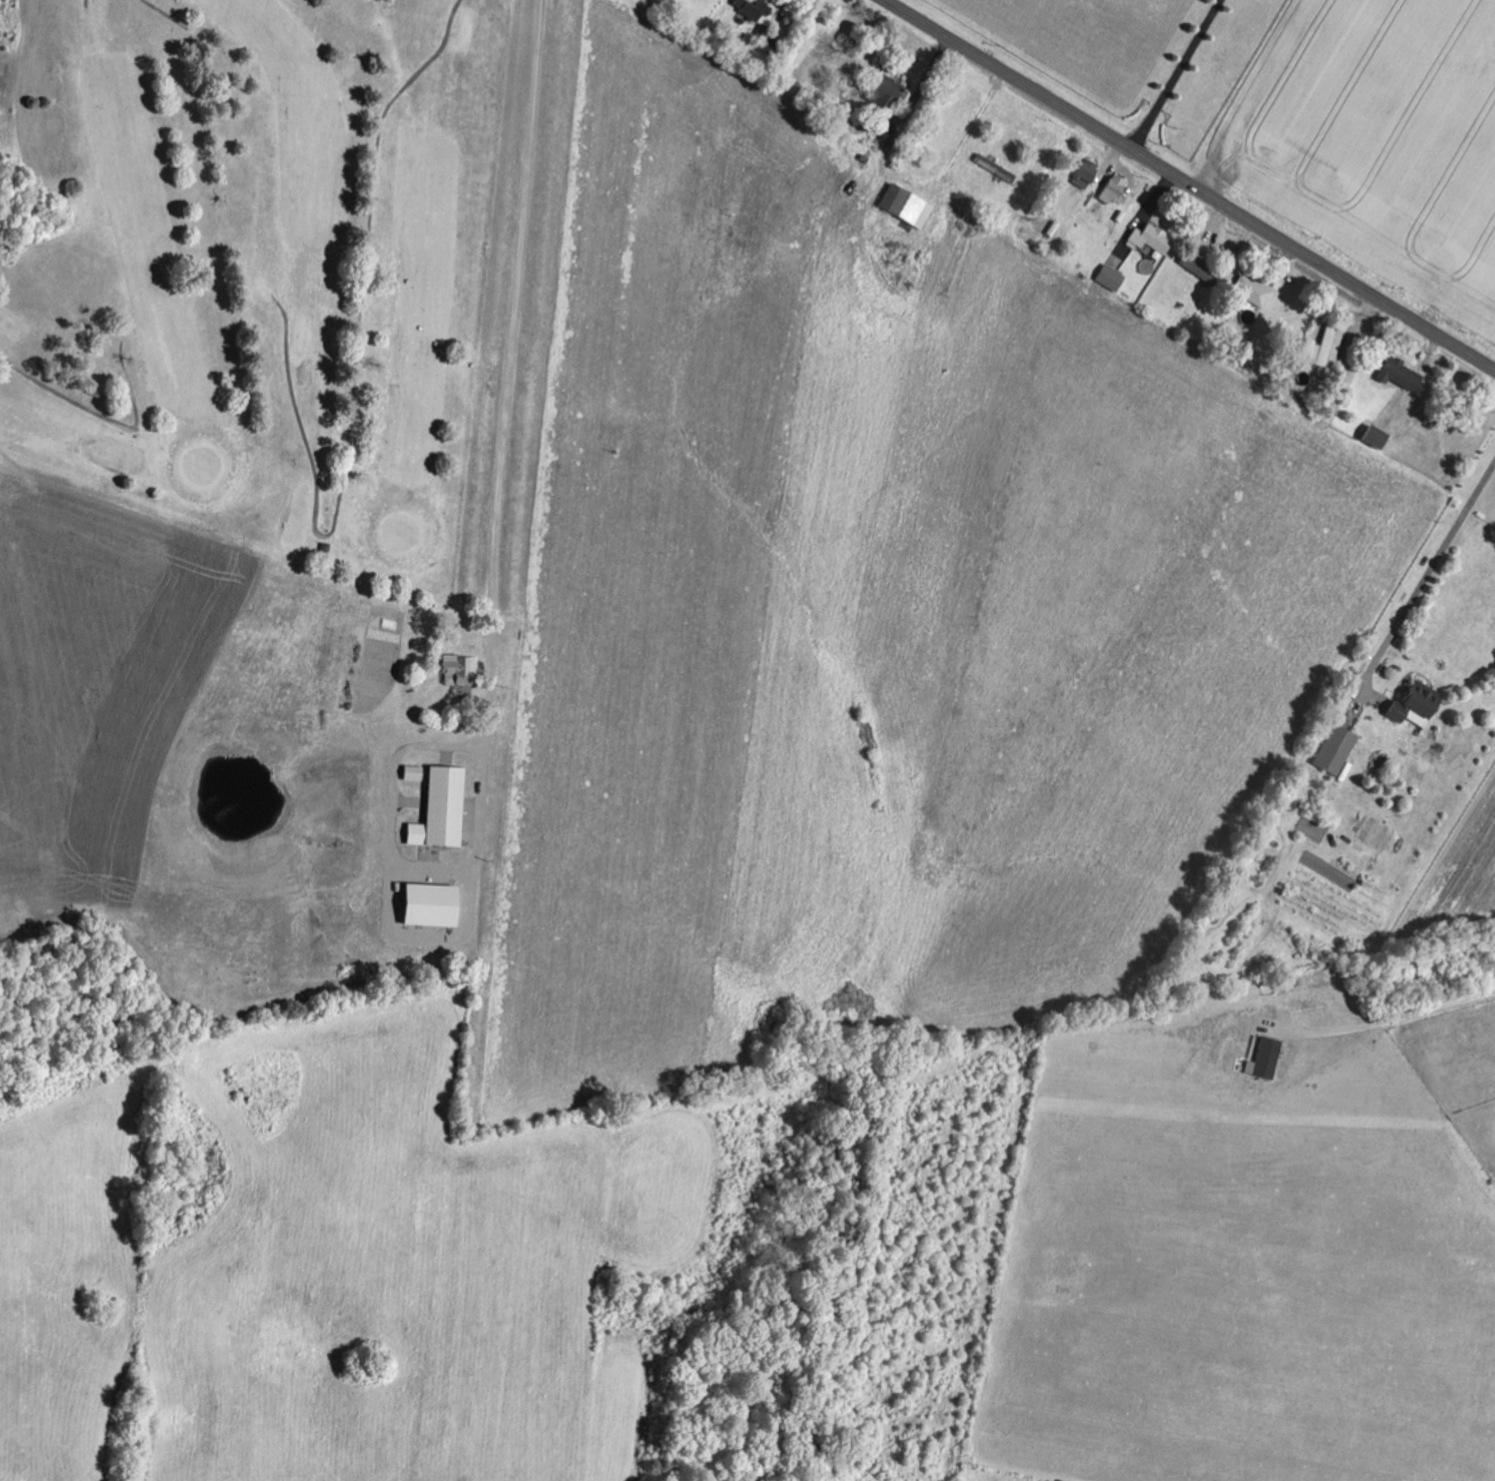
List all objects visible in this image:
building: (752, 9)
road: (1196, 83)
building: (886, 88)
building: (991, 167)
building: (1081, 173)
road: (1189, 184)
building: (1110, 189)
building: (903, 207)
building: (1146, 238)
park: (249, 250)
building: (1107, 277)
building: (1250, 290)
road: (662, 324)
building: (1324, 347)
building: (1396, 374)
building: (1370, 437)
road: (1483, 499)
building: (455, 668)
building: (1411, 703)
building: (1333, 749)
building: (409, 772)
building: (436, 808)
building: (423, 903)
building: (1261, 1057)

